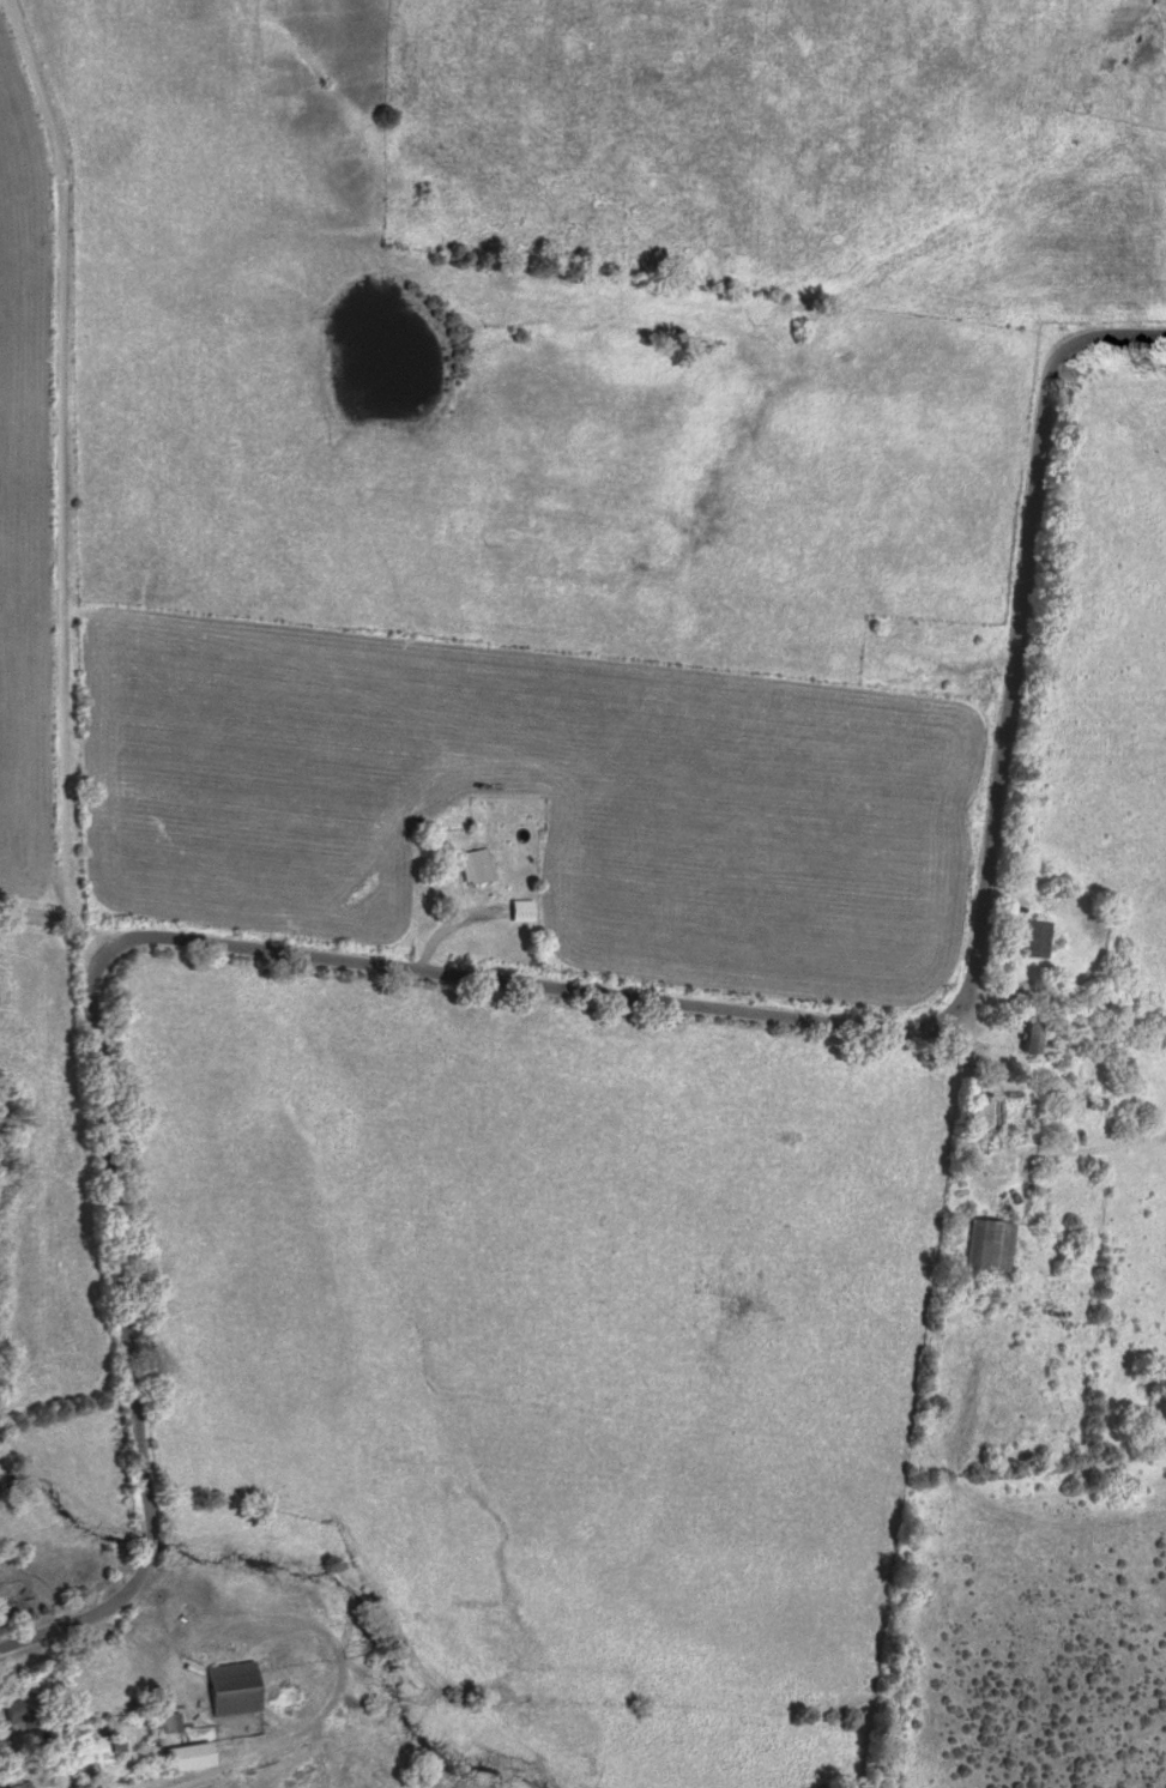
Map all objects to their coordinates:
road: (61, 472)
building: (906, 659)
building: (477, 866)
building: (524, 910)
building: (1038, 938)
road: (510, 981)
building: (990, 1244)
building: (234, 1689)
building: (20, 1710)
building: (168, 1723)
building: (189, 1758)

